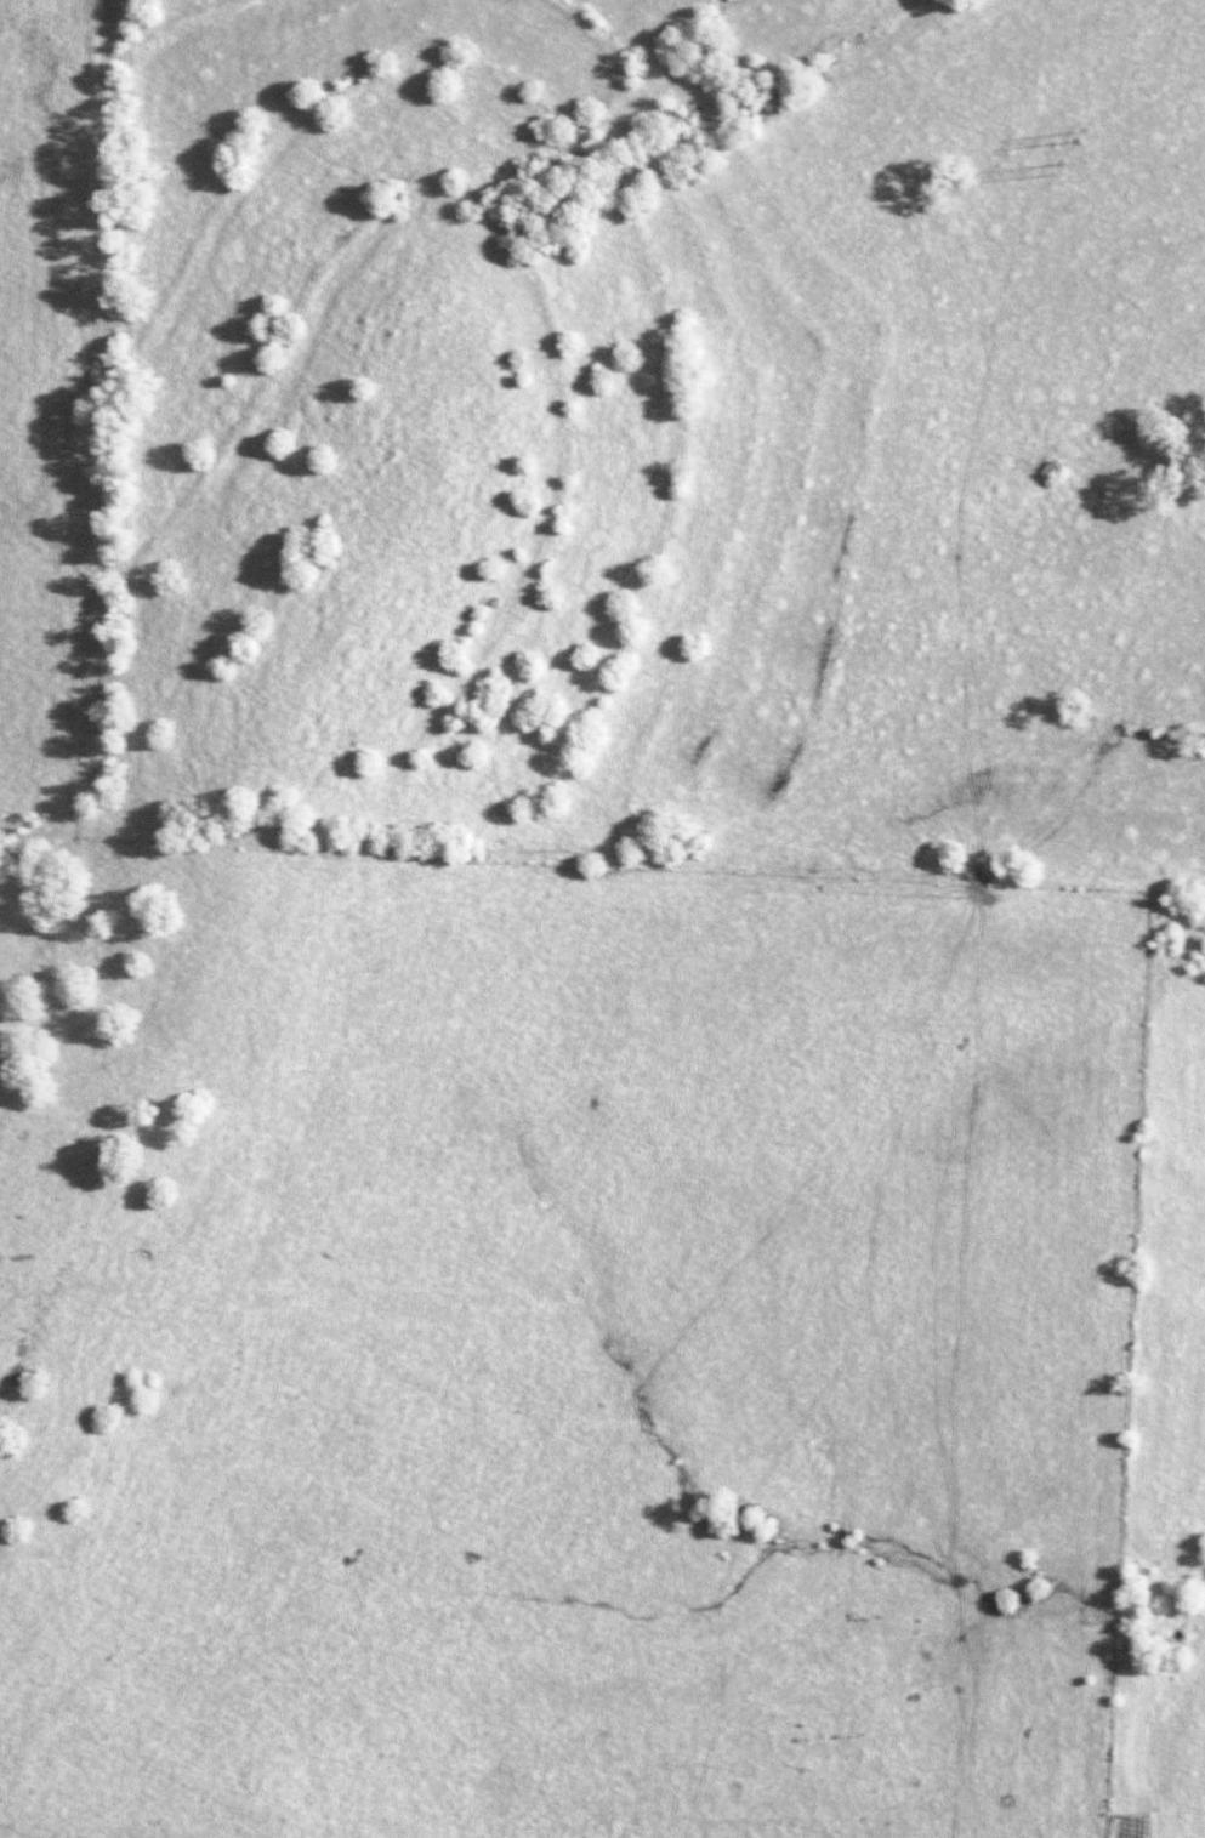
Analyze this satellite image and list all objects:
power tower: (1070, 140)
power tower: (1046, 169)

